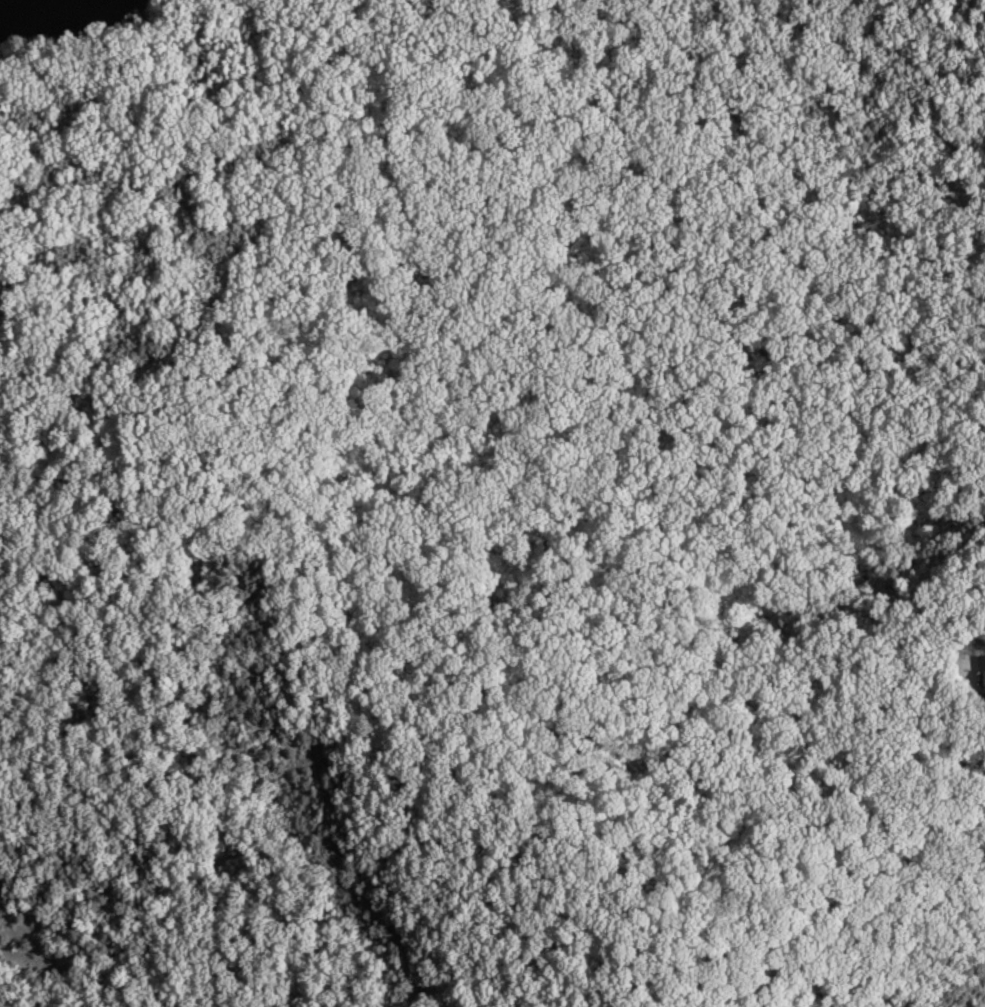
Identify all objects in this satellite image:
building: (984, 680)

